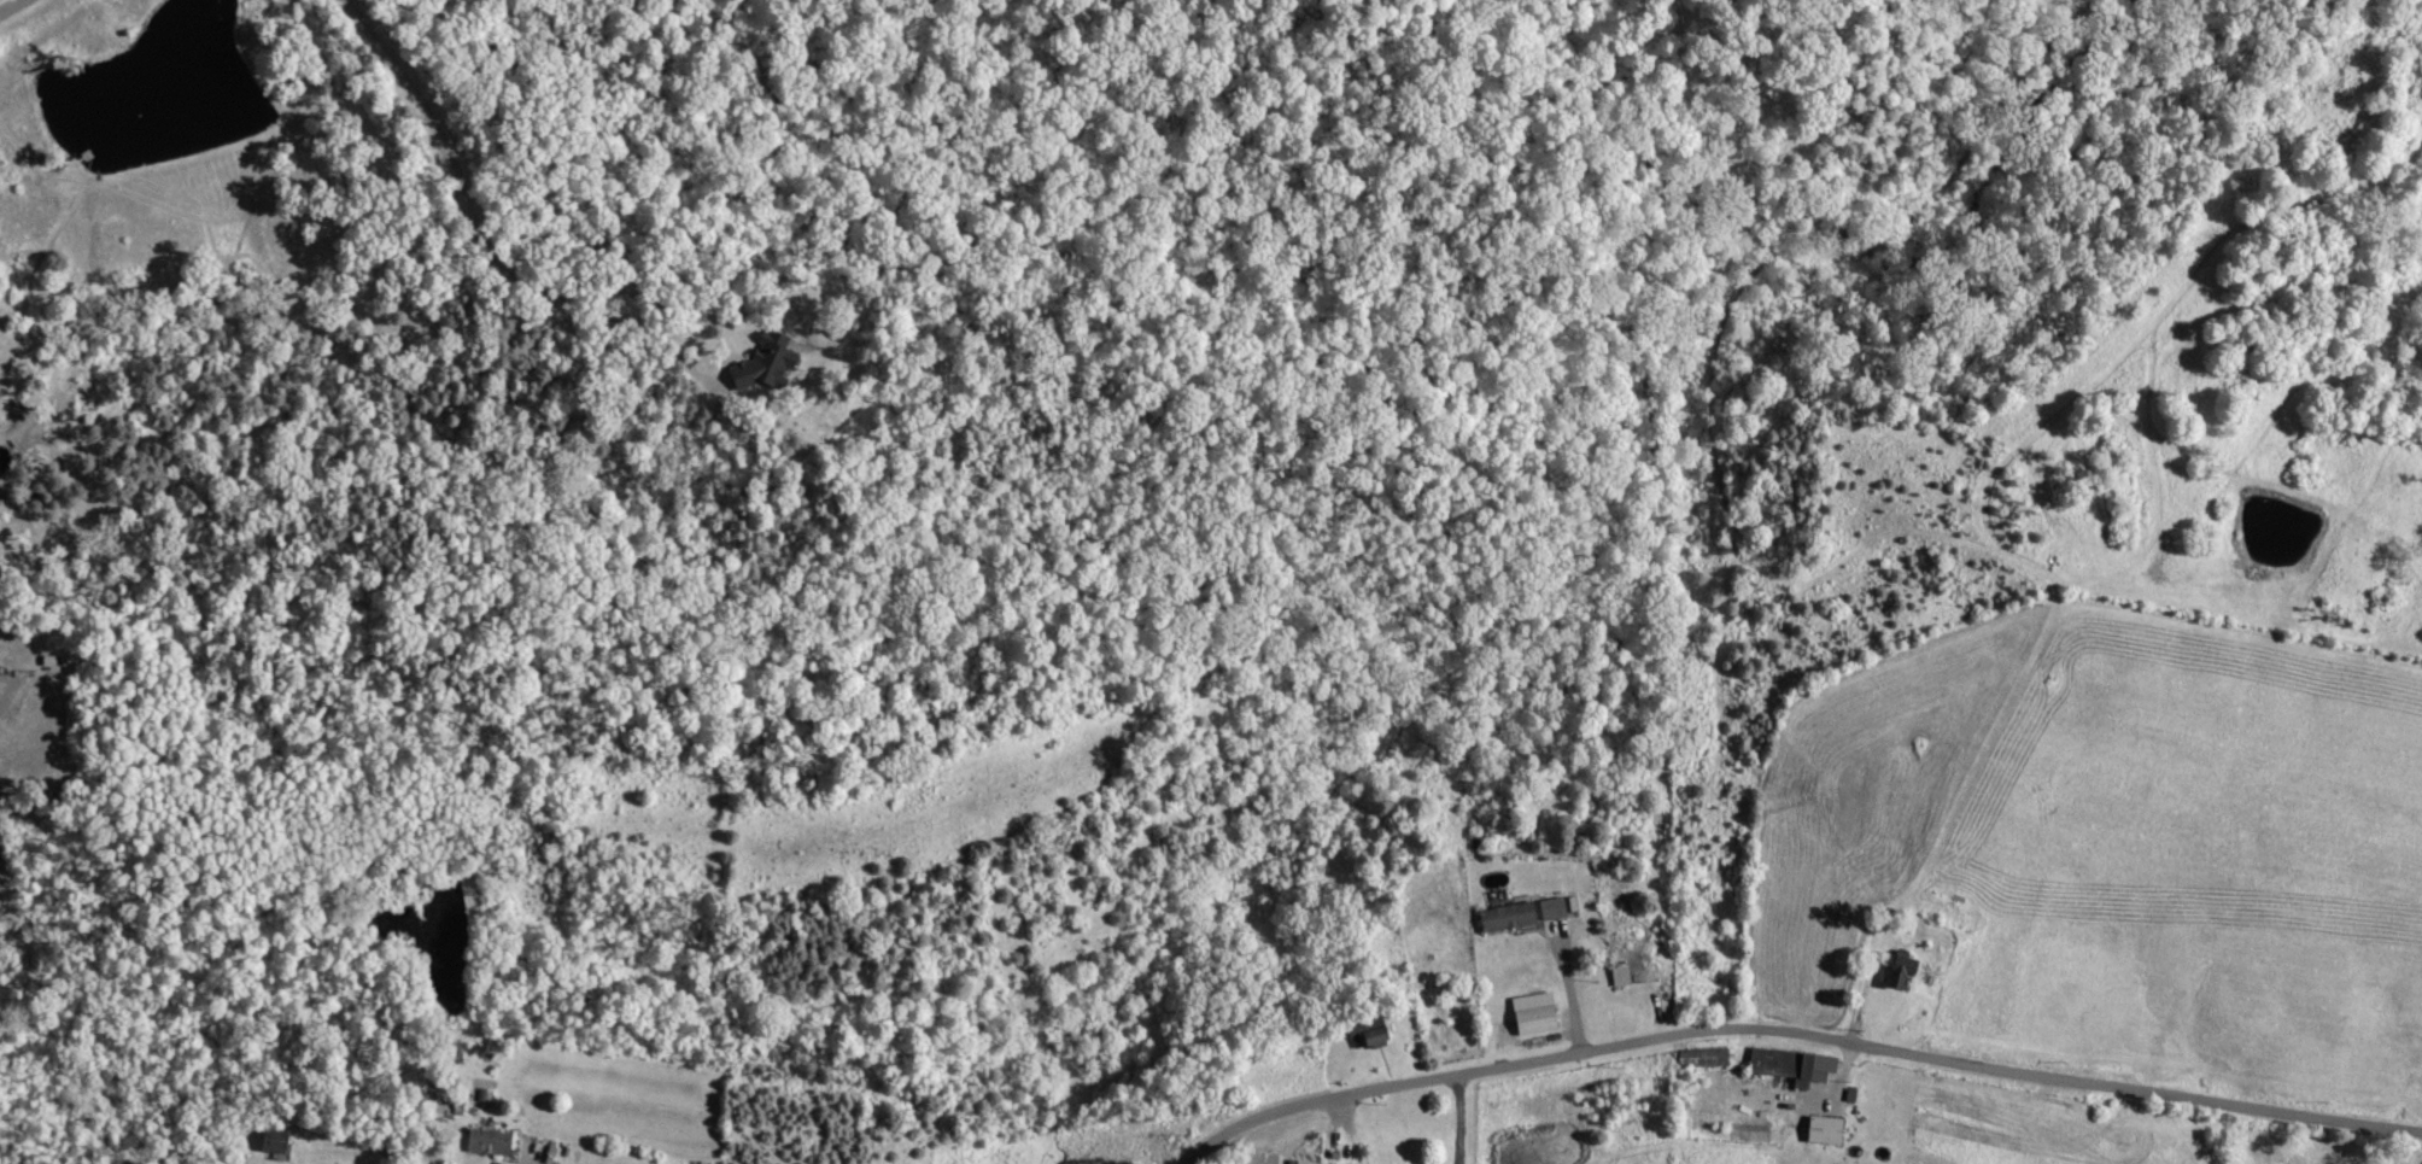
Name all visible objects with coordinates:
road: (11, 6)
building: (759, 364)
building: (1549, 907)
building: (1503, 916)
building: (1896, 972)
road: (1567, 993)
building: (1529, 1013)
building: (1369, 1033)
road: (1794, 1039)
building: (1700, 1057)
building: (1786, 1063)
road: (1459, 1118)
building: (1819, 1129)
building: (492, 1141)
building: (1303, 1162)
road: (526, 1163)

